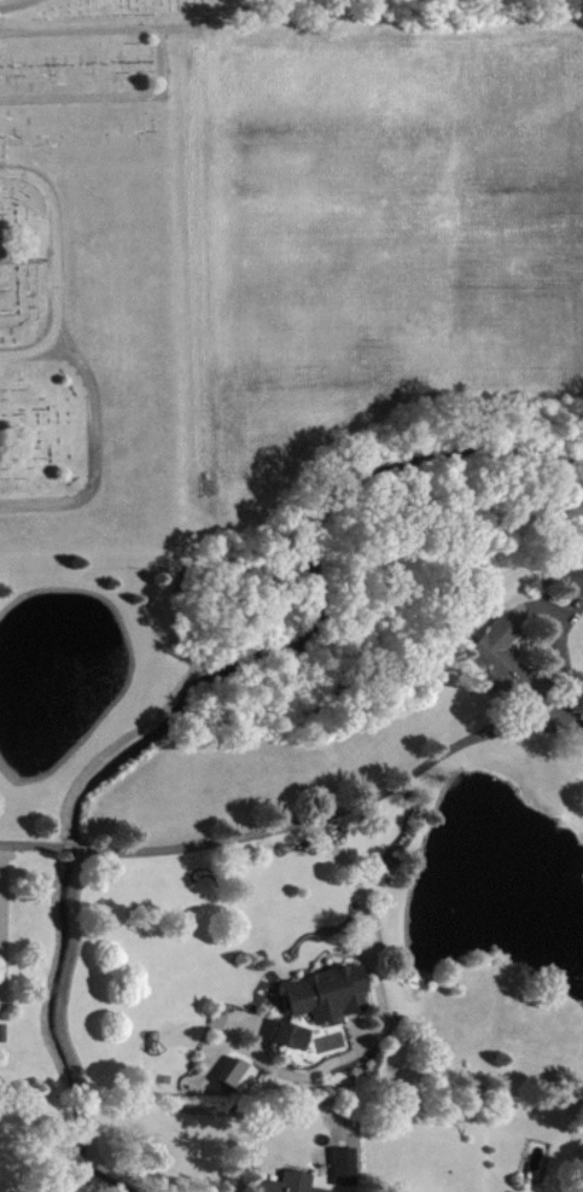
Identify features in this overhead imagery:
road: (12, 4)
road: (159, 60)
road: (56, 267)
park: (94, 279)
road: (92, 450)
building: (572, 591)
building: (501, 669)
road: (258, 830)
road: (0, 859)
road: (362, 900)
building: (330, 1005)
building: (293, 1047)
building: (240, 1087)
building: (297, 1187)
building: (263, 1191)

